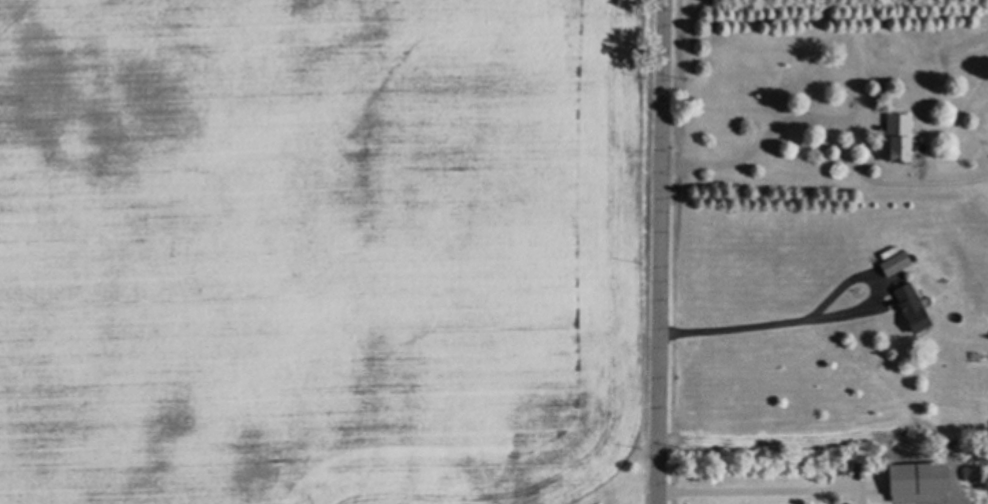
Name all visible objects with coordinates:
building: (892, 139)
road: (762, 140)
road: (658, 252)
building: (890, 263)
building: (905, 306)
road: (740, 328)
building: (882, 478)
road: (763, 492)

